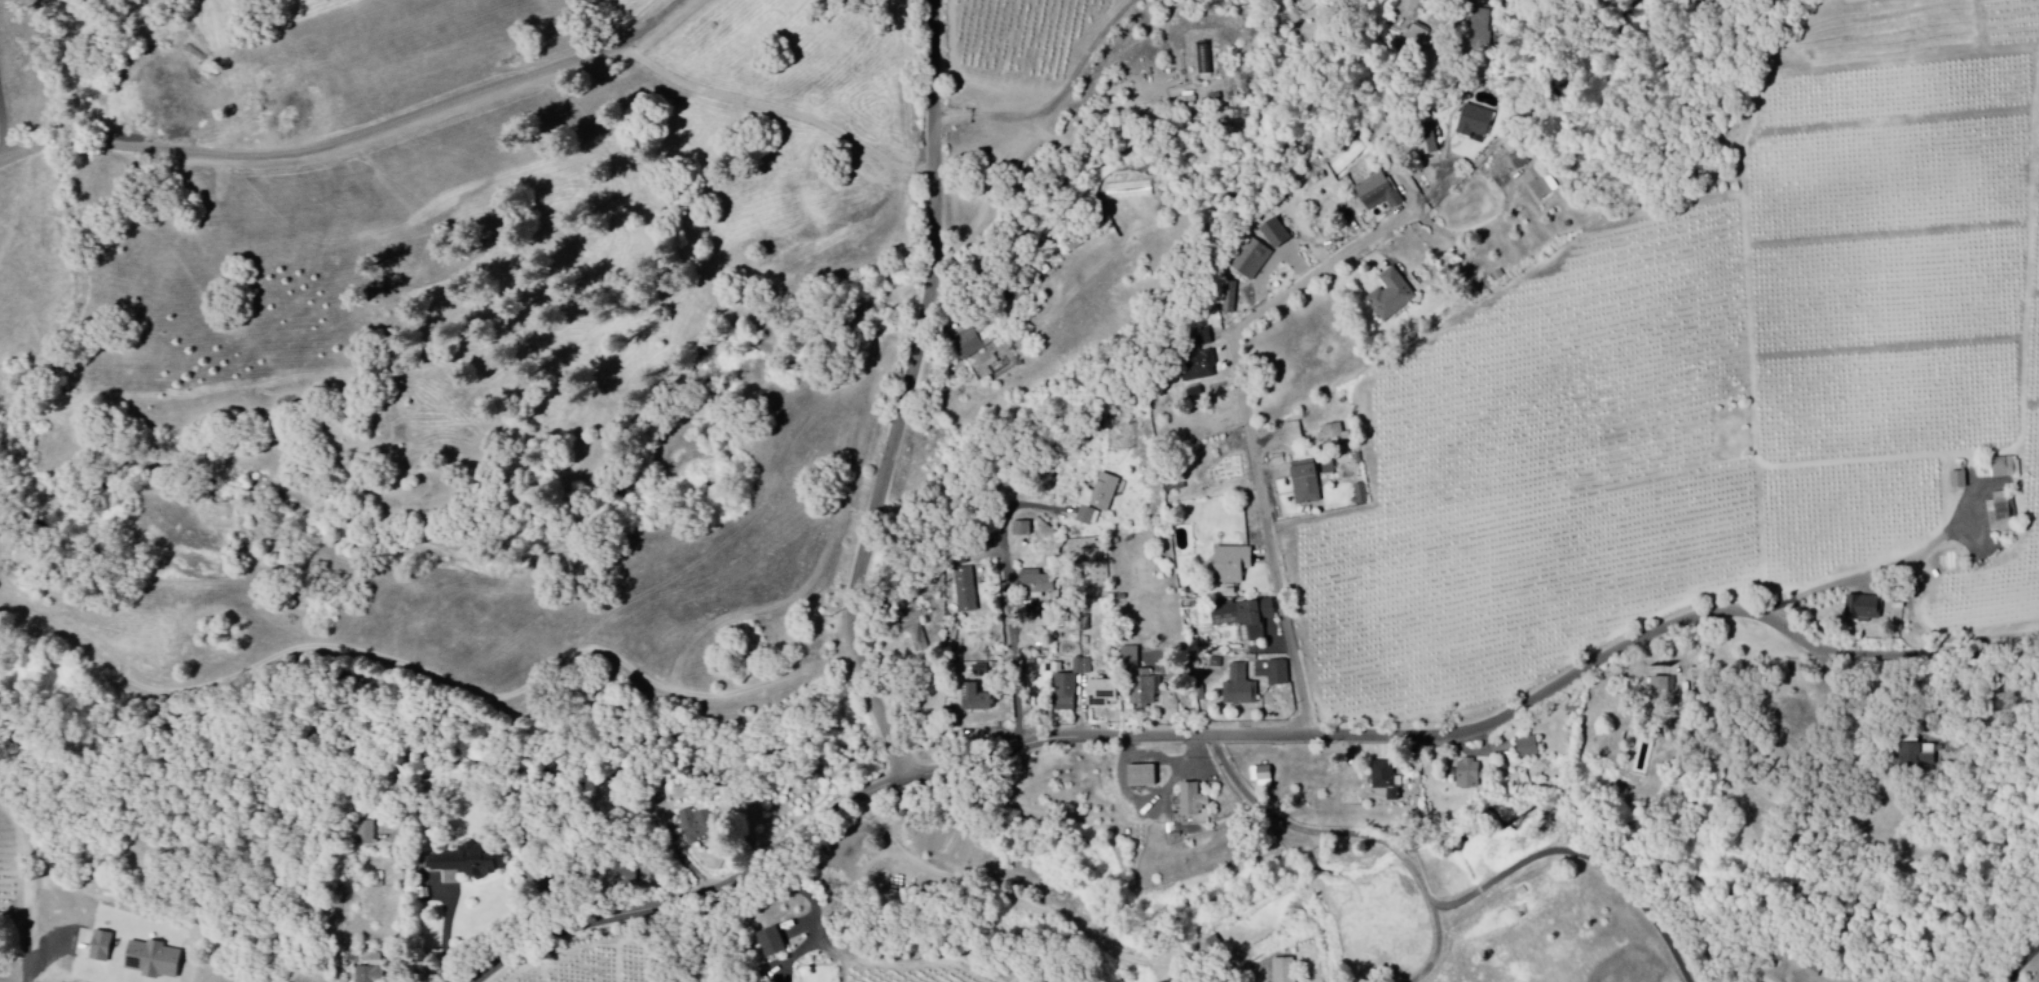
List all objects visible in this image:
building: (1298, 1)
building: (1481, 24)
building: (1417, 36)
road: (630, 45)
building: (1205, 59)
road: (2, 113)
building: (1476, 122)
building: (1429, 145)
building: (1520, 160)
road: (938, 173)
building: (1541, 185)
building: (1379, 193)
road: (9, 213)
building: (1276, 235)
building: (1258, 264)
building: (1392, 296)
building: (1203, 338)
building: (973, 342)
building: (1199, 368)
road: (1242, 384)
building: (1195, 394)
building: (1295, 434)
building: (1335, 435)
building: (1329, 468)
building: (2005, 468)
building: (1959, 481)
building: (1307, 484)
building: (1105, 493)
building: (1362, 495)
building: (2001, 513)
building: (1089, 517)
building: (1022, 530)
road: (865, 564)
building: (1233, 565)
building: (1038, 585)
building: (967, 591)
building: (1864, 609)
building: (1246, 618)
building: (917, 636)
building: (981, 671)
building: (1274, 673)
building: (1142, 681)
building: (1240, 689)
building: (1660, 692)
building: (1103, 694)
building: (977, 700)
road: (1244, 734)
building: (1528, 748)
building: (1470, 776)
building: (1143, 777)
building: (1263, 777)
building: (1195, 807)
building: (699, 828)
building: (366, 834)
road: (1353, 839)
road: (1583, 858)
building: (465, 863)
building: (625, 872)
building: (773, 943)
road: (2020, 962)
building: (373, 970)
building: (1285, 970)

